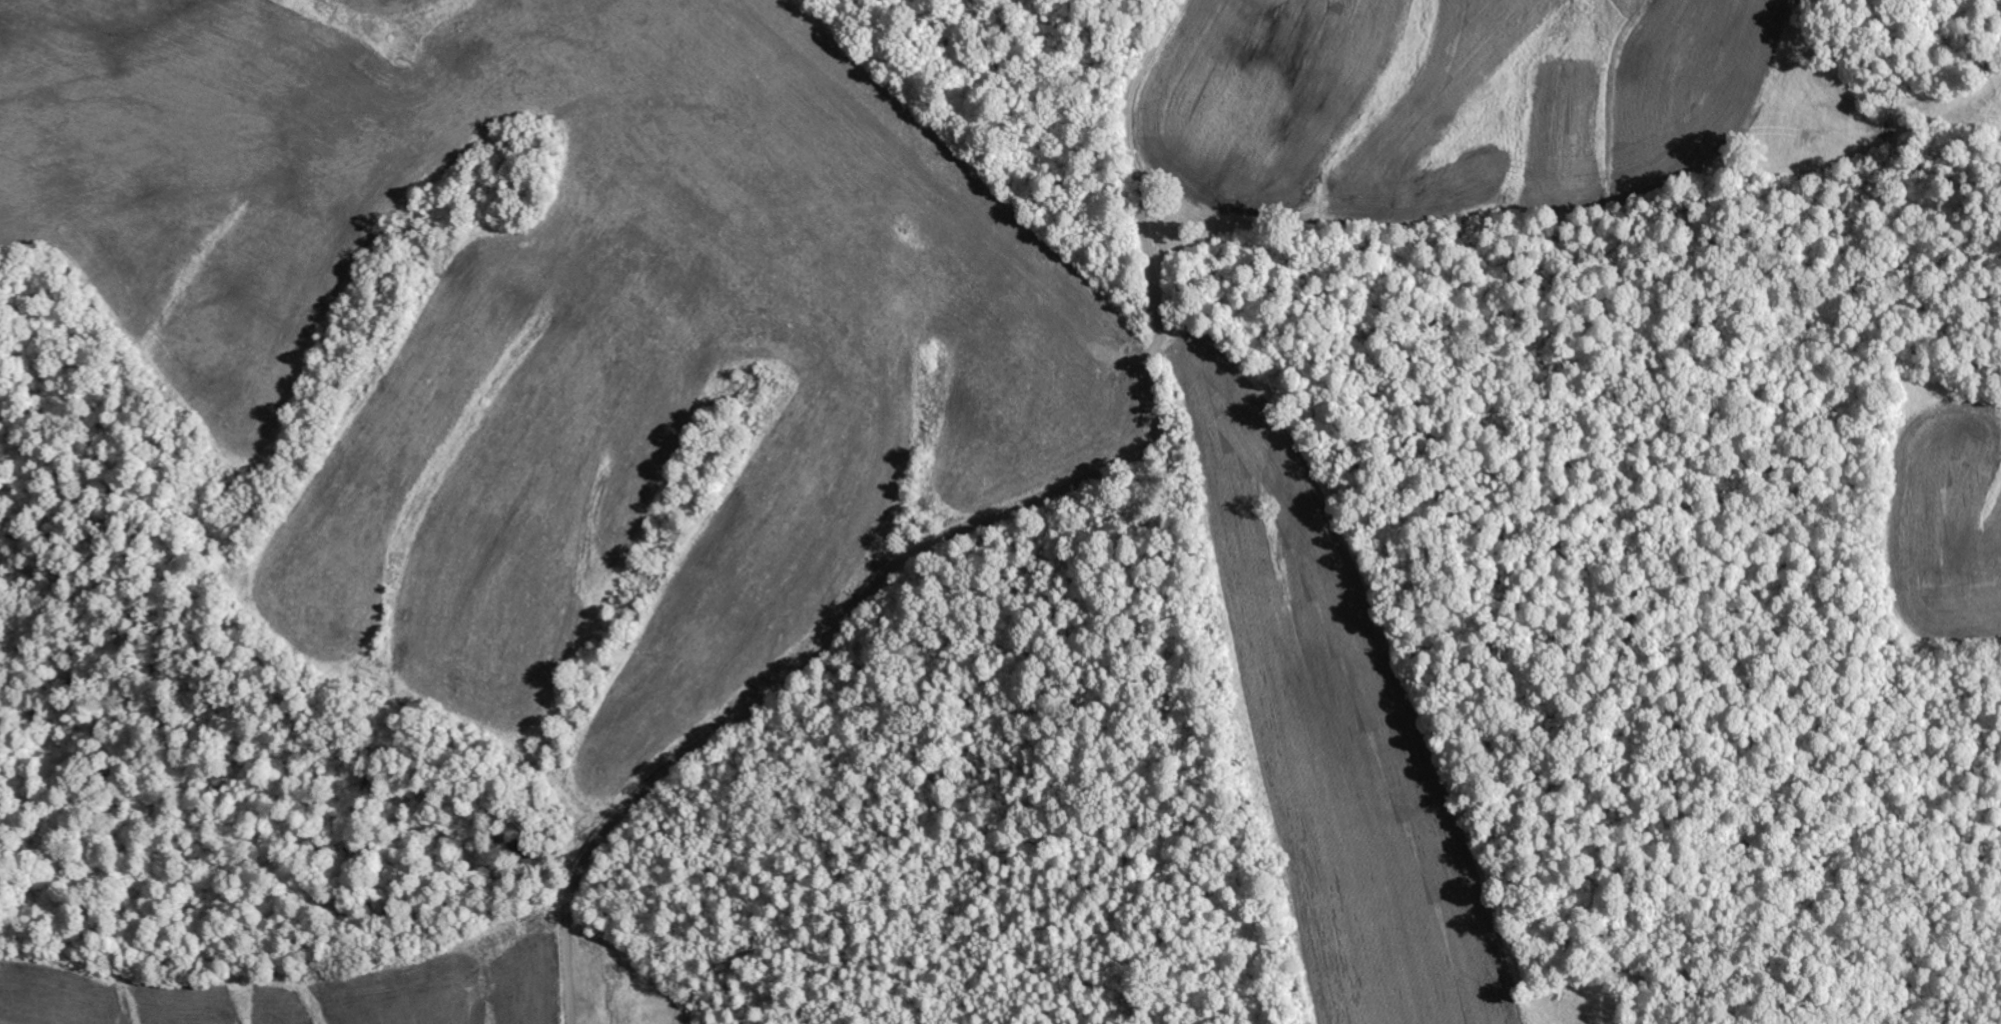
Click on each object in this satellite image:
road: (951, 534)

